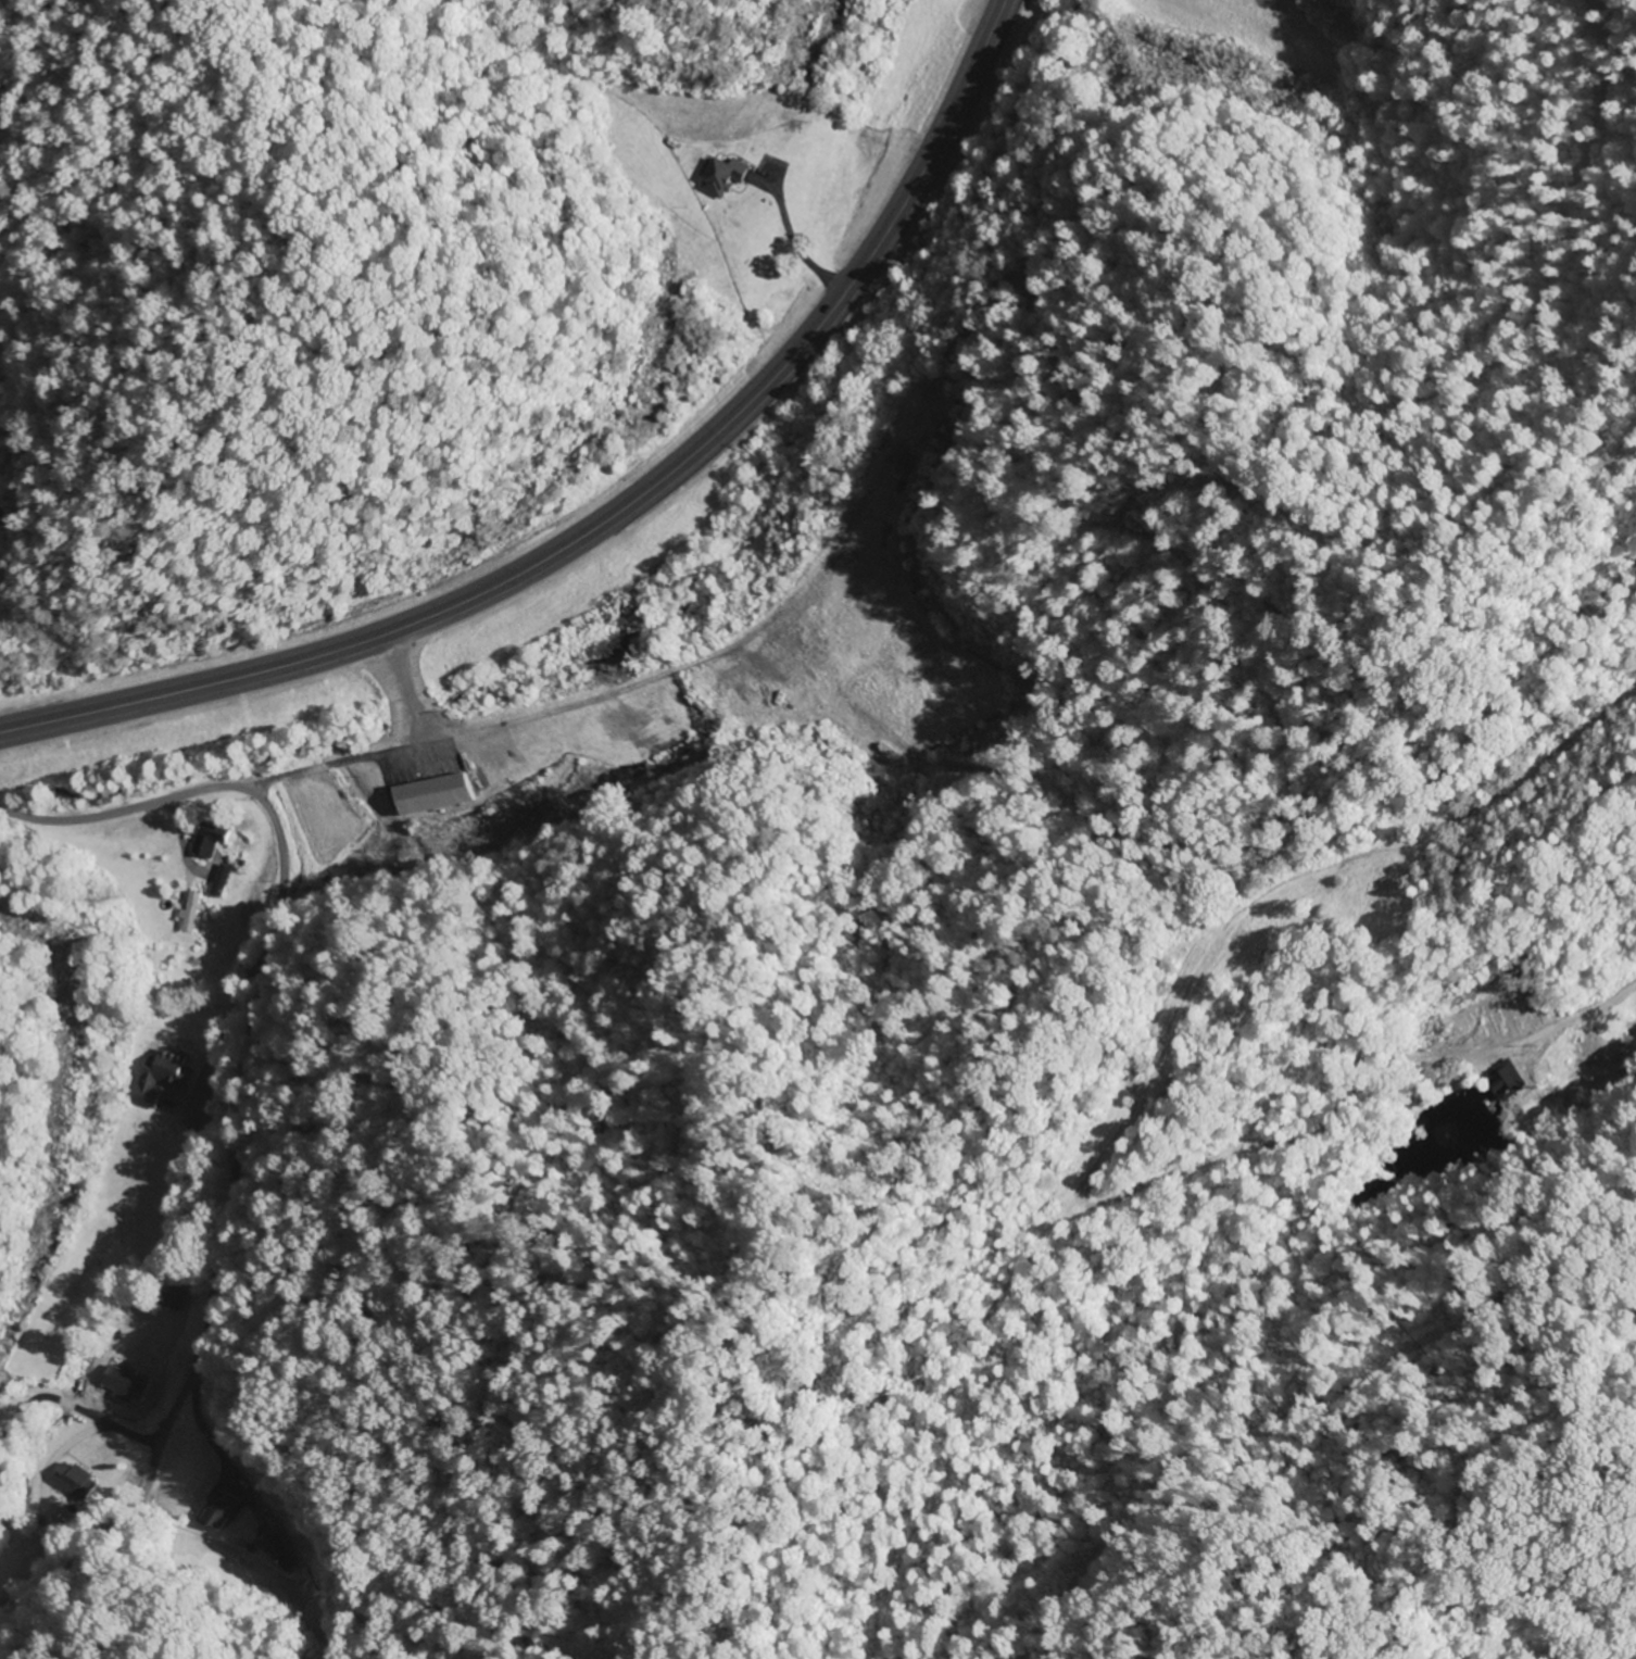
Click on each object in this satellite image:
building: (722, 179)
road: (619, 519)
building: (429, 795)
road: (265, 806)
building: (211, 840)
building: (223, 880)
building: (190, 912)
building: (161, 1078)
building: (121, 1384)
road: (184, 1387)
building: (72, 1481)
building: (215, 1509)

